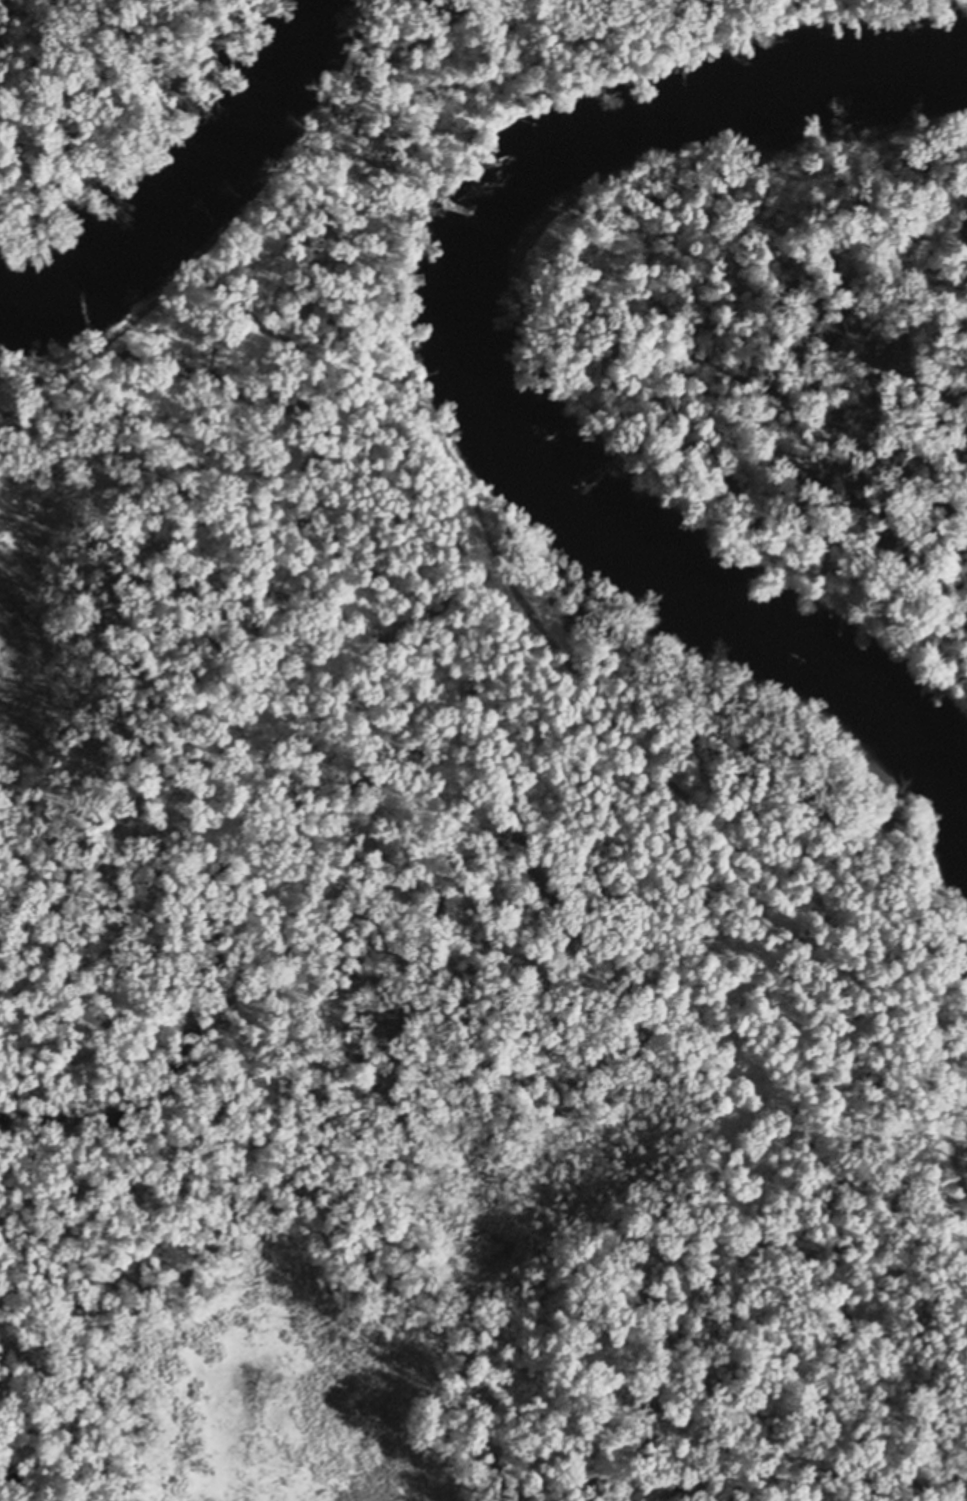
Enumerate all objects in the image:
building: (528, 86)
building: (547, 91)
river: (183, 197)
building: (402, 284)
river: (472, 368)
road: (664, 775)
building: (965, 996)
building: (960, 1045)
building: (960, 1085)
building: (964, 1149)

